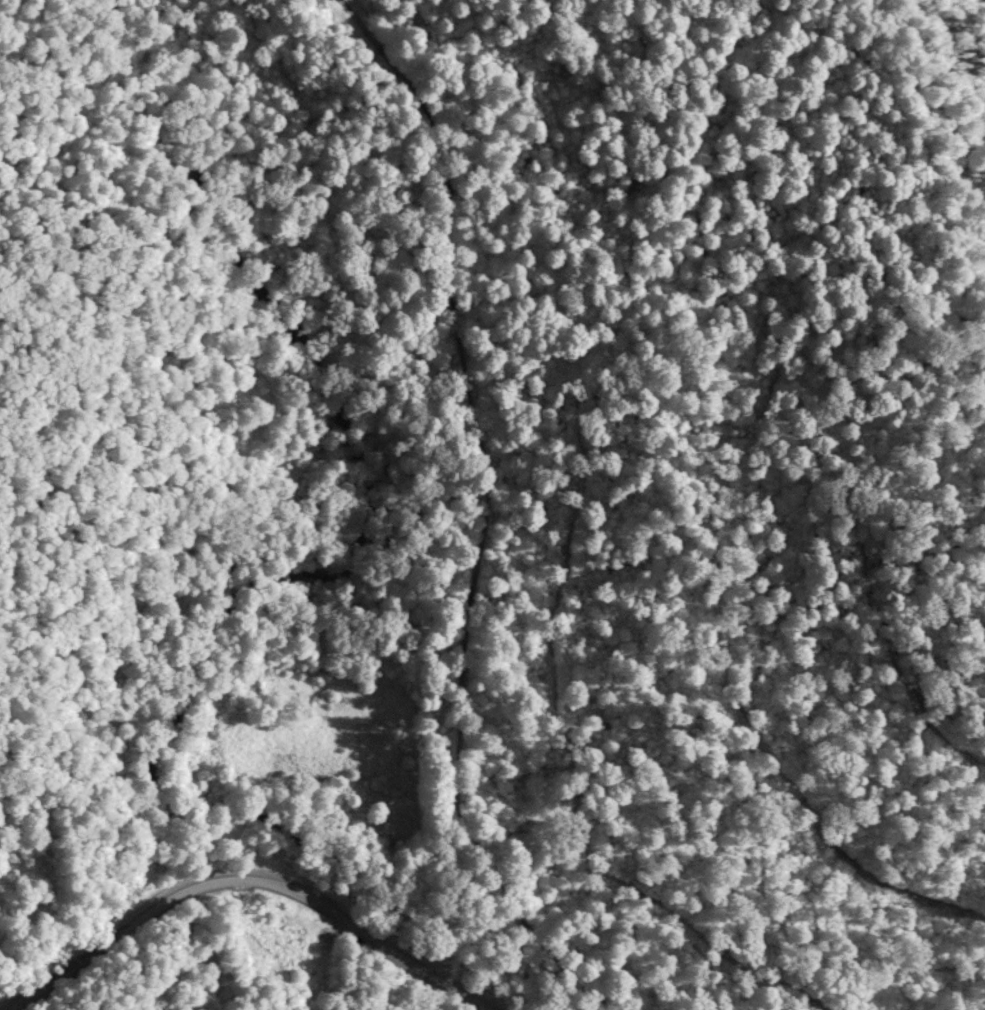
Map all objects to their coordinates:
road: (247, 877)

